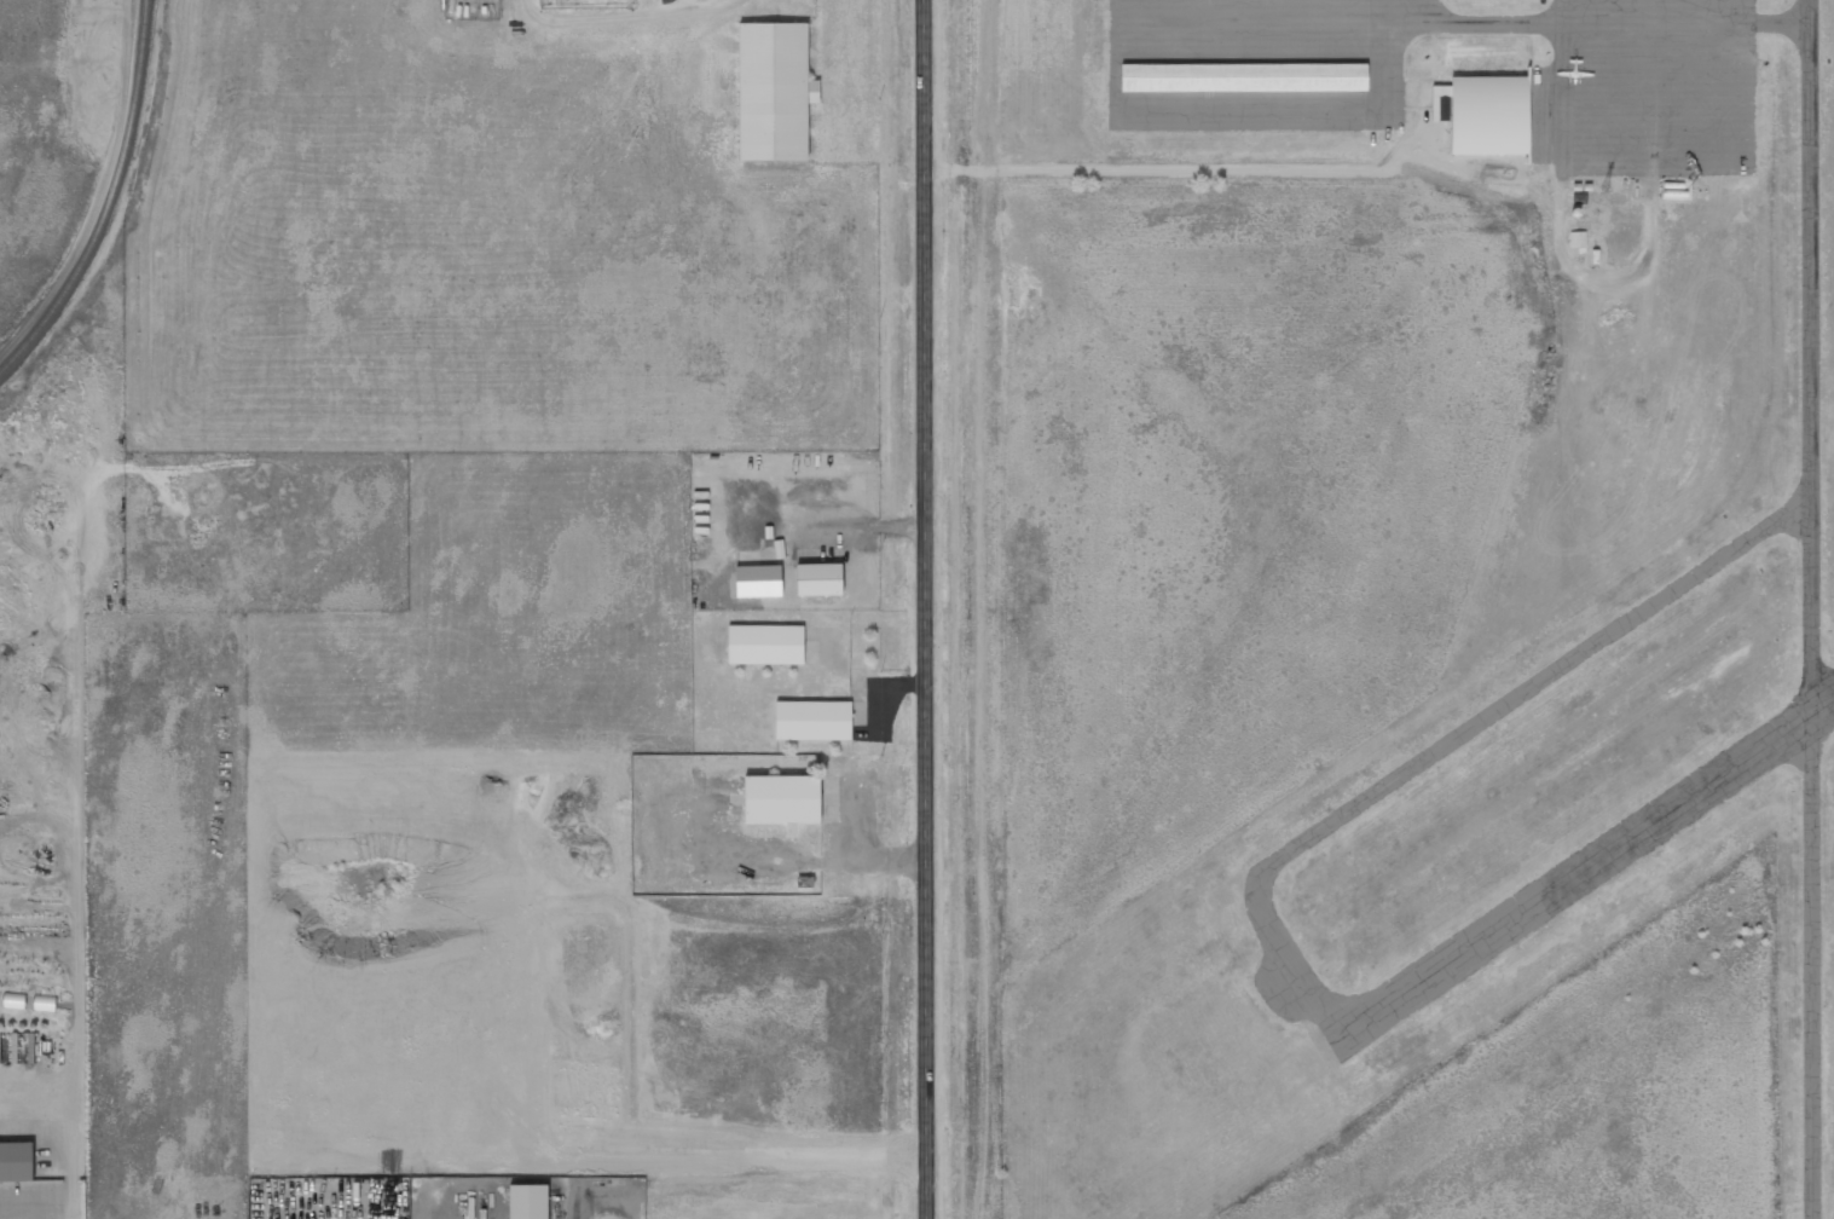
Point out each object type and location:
airport apron: (1257, 65)
building: (1246, 80)
airport apron: (1650, 87)
building: (774, 89)
building: (1494, 117)
railway: (114, 202)
building: (1576, 239)
building: (817, 579)
road: (928, 608)
airport: (1398, 608)
airport taxiway: (1809, 609)
building: (764, 643)
building: (812, 720)
airport taxiway: (1456, 738)
building: (781, 798)
airport runway: (1581, 872)
building: (44, 1003)
building: (17, 1161)
building: (528, 1201)

